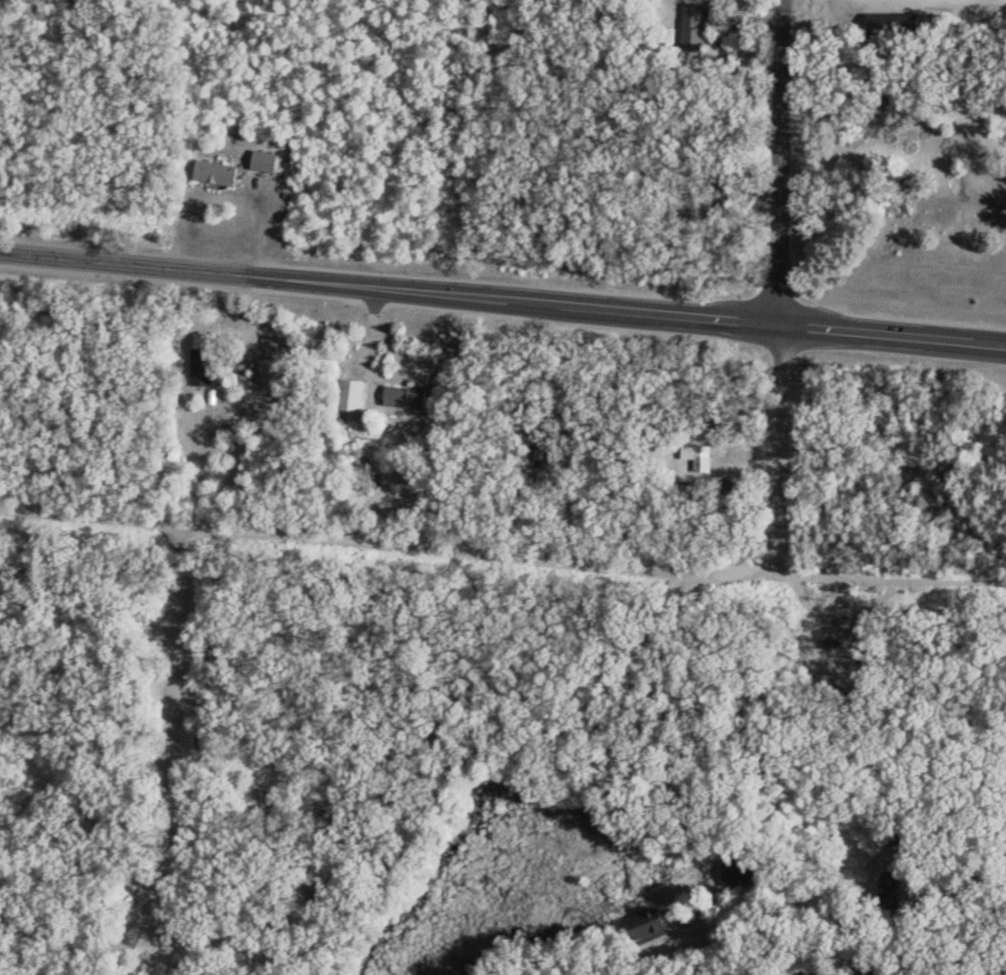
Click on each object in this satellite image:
building: (886, 25)
building: (688, 28)
building: (665, 39)
building: (269, 160)
road: (781, 163)
building: (219, 171)
road: (227, 195)
road: (389, 290)
road: (892, 337)
road: (998, 354)
building: (272, 369)
building: (355, 393)
building: (407, 395)
road: (778, 452)
building: (695, 455)
building: (434, 490)
road: (376, 540)
road: (879, 575)
road: (167, 802)
building: (892, 837)
road: (961, 851)
building: (893, 887)
building: (636, 927)
road: (204, 948)

